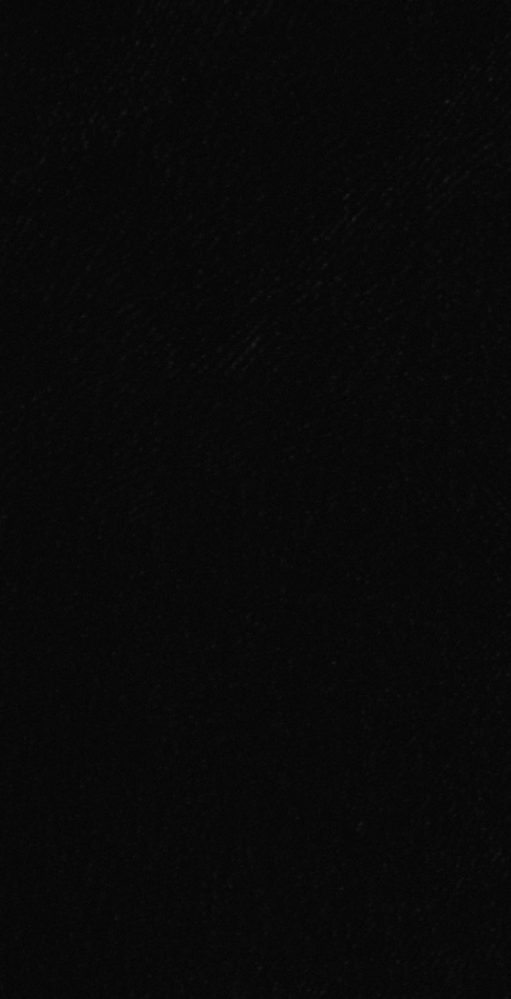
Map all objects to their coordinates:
river: (255, 609)

